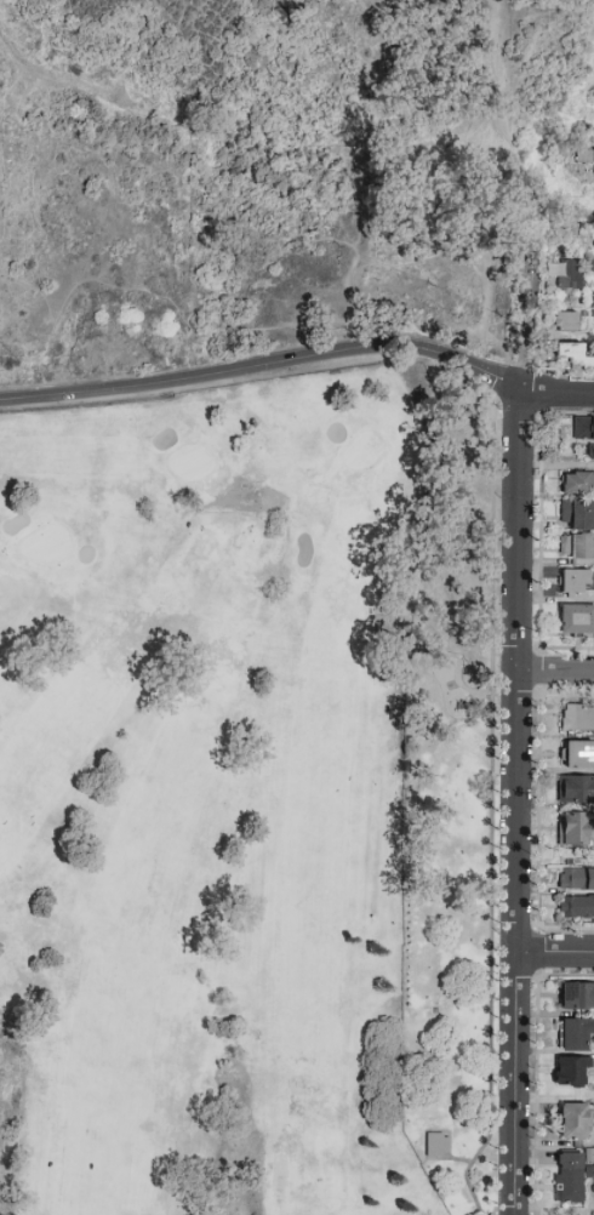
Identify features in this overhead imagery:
road: (493, 19)
road: (30, 69)
road: (56, 84)
building: (587, 156)
park: (213, 176)
road: (188, 207)
building: (567, 273)
building: (562, 320)
building: (575, 356)
road: (264, 366)
road: (556, 393)
building: (583, 430)
building: (590, 451)
building: (577, 483)
building: (577, 515)
building: (577, 547)
building: (575, 581)
park: (255, 603)
building: (577, 620)
road: (495, 661)
road: (555, 671)
road: (497, 692)
building: (577, 718)
building: (577, 754)
building: (576, 789)
park: (211, 797)
road: (515, 804)
building: (573, 828)
building: (576, 879)
building: (577, 907)
road: (554, 953)
building: (577, 996)
building: (575, 1034)
building: (571, 1072)
building: (573, 1120)
building: (436, 1145)
building: (569, 1177)
building: (593, 1177)

